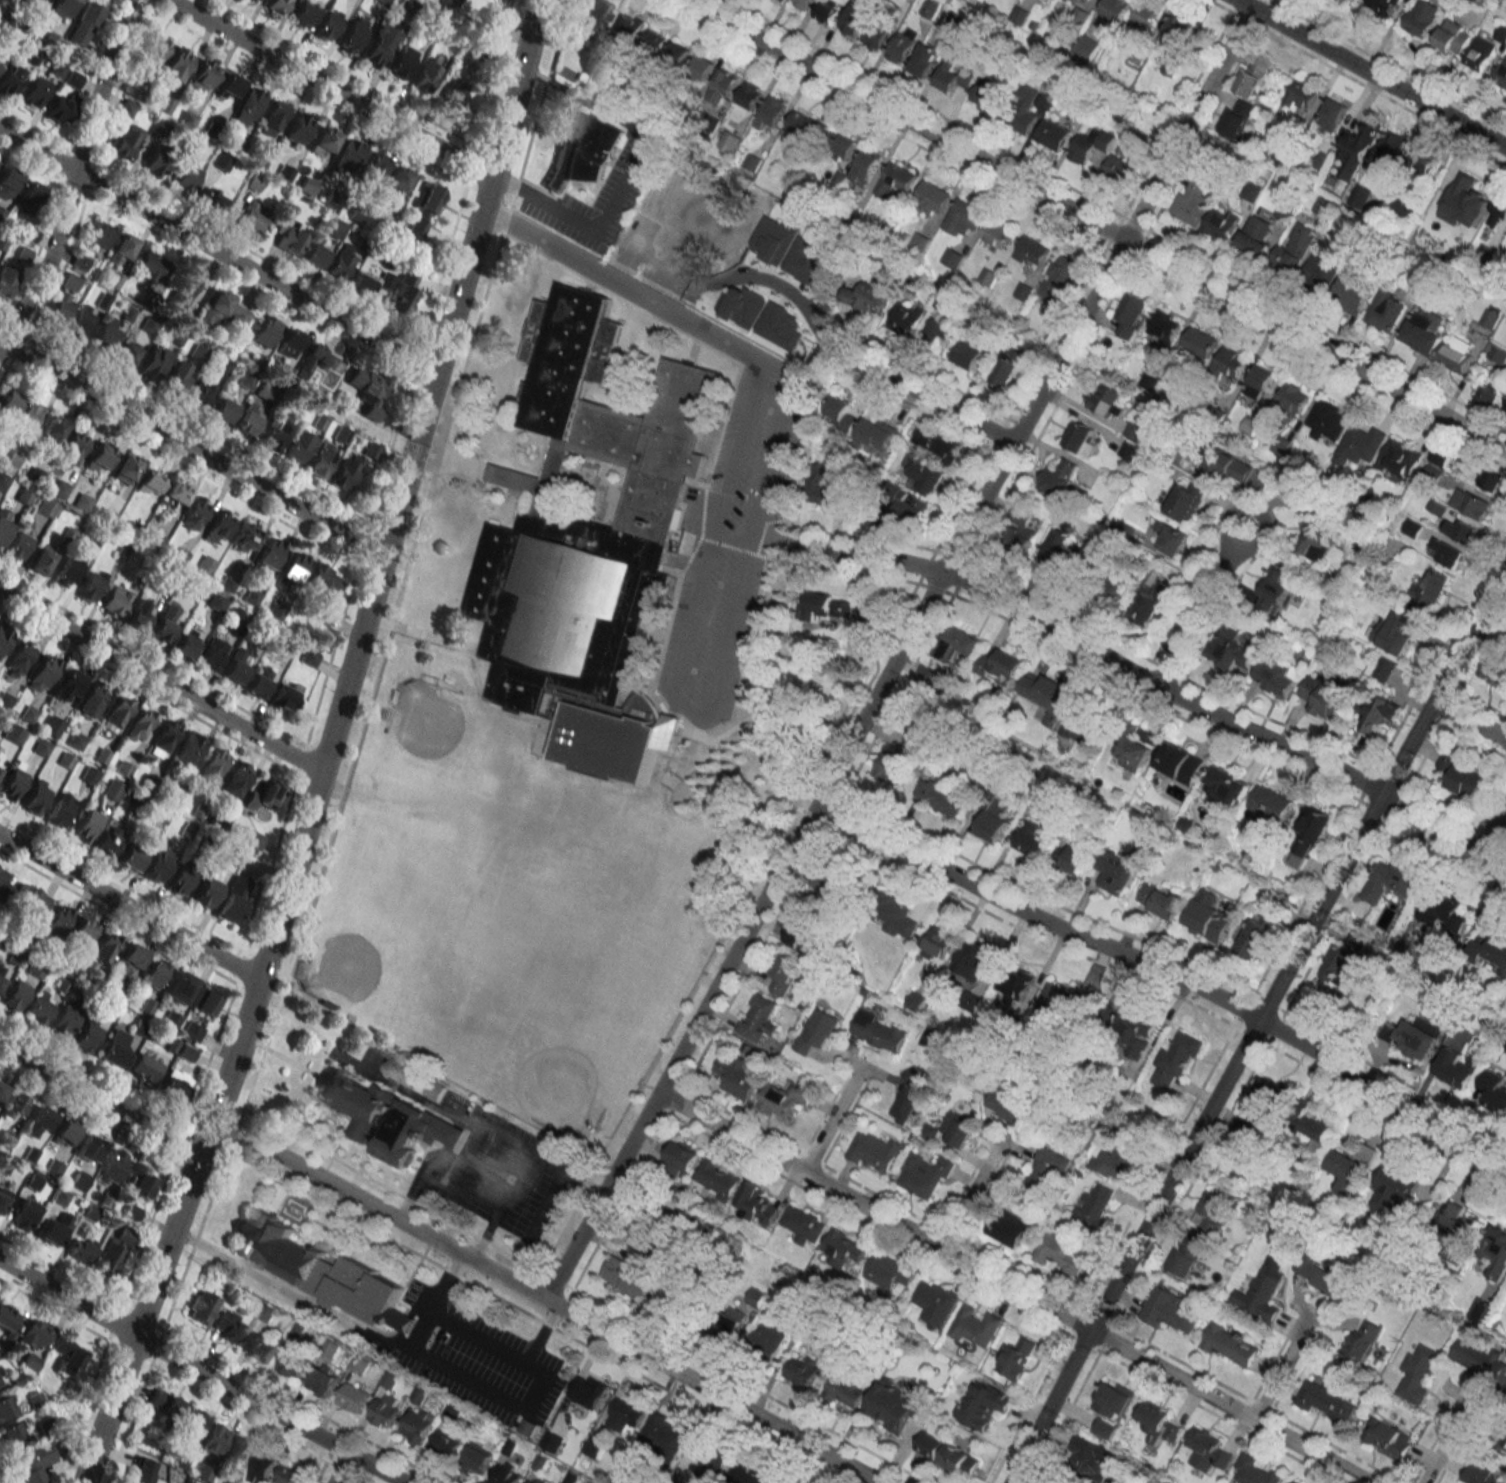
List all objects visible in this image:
building: (253, 1)
building: (383, 1)
building: (36, 2)
building: (802, 3)
building: (1383, 6)
building: (60, 7)
building: (276, 7)
building: (1117, 10)
building: (827, 11)
building: (301, 14)
building: (1146, 14)
building: (1423, 17)
building: (854, 18)
building: (590, 22)
building: (83, 23)
building: (953, 23)
building: (630, 26)
building: (1178, 26)
building: (325, 28)
building: (877, 33)
building: (1502, 33)
building: (352, 35)
building: (1454, 36)
building: (654, 43)
building: (378, 45)
building: (903, 45)
building: (1085, 48)
building: (152, 49)
building: (1480, 53)
building: (678, 54)
building: (1, 58)
building: (926, 59)
building: (401, 61)
building: (176, 67)
building: (703, 67)
building: (1170, 67)
building: (426, 74)
building: (956, 74)
road: (1371, 74)
building: (1501, 74)
building: (202, 75)
building: (1252, 78)
building: (9, 80)
building: (228, 86)
building: (723, 86)
building: (133, 87)
road: (330, 88)
building: (455, 88)
building: (34, 91)
building: (749, 95)
building: (986, 95)
building: (1303, 95)
building: (247, 106)
building: (1022, 109)
building: (60, 110)
building: (1335, 111)
building: (771, 113)
building: (1238, 117)
building: (272, 118)
building: (187, 120)
building: (299, 130)
building: (804, 131)
building: (1052, 134)
building: (126, 141)
building: (322, 141)
building: (730, 141)
building: (579, 145)
building: (847, 145)
building: (1090, 145)
building: (1357, 149)
building: (1391, 149)
building: (347, 154)
building: (1282, 155)
building: (1320, 160)
building: (220, 161)
building: (154, 164)
building: (372, 167)
building: (866, 167)
road: (628, 168)
building: (1122, 168)
road: (74, 178)
building: (186, 178)
building: (897, 178)
building: (395, 180)
building: (7, 182)
building: (1252, 191)
building: (1360, 195)
building: (27, 197)
building: (931, 197)
building: (210, 200)
building: (1192, 201)
building: (1465, 201)
building: (1323, 205)
building: (1406, 208)
building: (424, 210)
building: (696, 211)
building: (1498, 212)
building: (251, 216)
building: (963, 217)
building: (1221, 222)
road: (1097, 225)
building: (100, 234)
building: (997, 234)
building: (1255, 237)
building: (287, 239)
building: (1295, 248)
building: (121, 249)
road: (217, 251)
building: (1032, 252)
building: (313, 254)
building: (953, 258)
building: (341, 262)
building: (150, 266)
building: (1322, 270)
building: (1059, 279)
building: (6, 281)
building: (70, 281)
building: (361, 283)
building: (182, 290)
building: (1354, 292)
building: (403, 295)
building: (868, 297)
building: (943, 300)
road: (800, 301)
building: (60, 308)
building: (223, 310)
building: (1386, 310)
building: (1131, 314)
building: (907, 318)
building: (81, 321)
building: (1164, 328)
building: (942, 329)
building: (265, 330)
building: (107, 332)
building: (1422, 333)
building: (290, 343)
building: (1199, 343)
building: (970, 352)
building: (1497, 352)
building: (124, 353)
building: (1454, 357)
building: (311, 360)
building: (1230, 362)
building: (151, 363)
building: (1008, 366)
building: (280, 372)
building: (177, 376)
building: (1149, 378)
building: (1262, 378)
road: (747, 390)
building: (368, 391)
road: (920, 393)
building: (199, 394)
building: (1487, 394)
building: (1293, 398)
building: (10, 402)
building: (1106, 403)
building: (223, 407)
building: (1505, 409)
building: (843, 413)
building: (28, 416)
building: (1330, 418)
building: (247, 419)
building: (52, 429)
building: (876, 433)
building: (271, 435)
building: (1081, 438)
building: (936, 441)
building: (1361, 445)
building: (296, 446)
building: (74, 447)
road: (191, 449)
building: (371, 450)
building: (1129, 451)
building: (1441, 455)
building: (100, 457)
building: (320, 459)
building: (1401, 459)
building: (1213, 465)
building: (125, 467)
building: (345, 471)
building: (924, 473)
building: (1060, 478)
building: (1493, 478)
building: (3, 481)
building: (150, 482)
building: (828, 484)
building: (175, 493)
building: (1187, 499)
building: (1471, 503)
building: (46, 508)
building: (910, 508)
building: (194, 513)
building: (4, 523)
building: (219, 527)
building: (1414, 527)
building: (1020, 529)
building: (1462, 530)
building: (1317, 535)
building: (245, 538)
building: (1174, 539)
building: (587, 543)
building: (18, 546)
building: (1058, 546)
building: (269, 552)
building: (1447, 553)
building: (178, 556)
road: (1227, 557)
building: (41, 559)
building: (295, 564)
building: (68, 570)
building: (323, 580)
building: (91, 585)
building: (1114, 587)
building: (1275, 591)
building: (1428, 591)
building: (115, 600)
building: (1149, 603)
building: (828, 607)
building: (136, 616)
building: (870, 619)
building: (164, 623)
building: (3, 636)
building: (957, 643)
building: (185, 645)
building: (1230, 648)
road: (896, 653)
building: (309, 657)
building: (209, 658)
building: (18, 659)
building: (1498, 662)
building: (1001, 665)
building: (234, 667)
building: (42, 673)
building: (925, 675)
building: (1277, 675)
building: (258, 681)
road: (160, 682)
building: (67, 685)
road: (1162, 688)
building: (1047, 693)
building: (284, 695)
building: (1323, 696)
building: (90, 700)
building: (118, 711)
building: (1378, 714)
road: (1469, 717)
building: (140, 723)
building: (1084, 723)
building: (51, 726)
building: (164, 737)
building: (76, 740)
road: (327, 747)
building: (188, 748)
building: (1132, 753)
building: (1181, 763)
building: (211, 767)
building: (891, 769)
building: (1462, 774)
building: (14, 780)
building: (235, 780)
building: (1226, 785)
building: (263, 796)
building: (940, 796)
building: (36, 797)
building: (1272, 805)
building: (60, 810)
building: (993, 816)
building: (85, 826)
road: (1491, 828)
building: (1308, 838)
building: (1031, 839)
building: (253, 840)
building: (107, 841)
building: (129, 858)
building: (1078, 858)
building: (157, 864)
building: (1116, 871)
building: (180, 879)
building: (1392, 880)
building: (3, 884)
building: (828, 886)
building: (205, 891)
building: (30, 898)
building: (232, 899)
building: (1161, 900)
road: (129, 907)
building: (1447, 914)
building: (897, 919)
building: (57, 920)
building: (1207, 922)
building: (82, 929)
building: (1253, 938)
building: (937, 943)
building: (105, 947)
building: (1493, 950)
building: (129, 958)
building: (1344, 960)
building: (972, 962)
building: (36, 969)
building: (784, 971)
road: (1167, 973)
building: (2, 974)
building: (152, 976)
building: (1017, 980)
building: (179, 987)
building: (15, 996)
building: (206, 1002)
building: (970, 1006)
building: (39, 1007)
building: (757, 1017)
building: (64, 1019)
road: (1255, 1023)
building: (138, 1026)
building: (819, 1027)
building: (191, 1032)
building: (878, 1032)
building: (1136, 1032)
building: (87, 1035)
building: (1414, 1037)
building: (115, 1048)
building: (1174, 1062)
building: (1457, 1067)
building: (143, 1068)
building: (736, 1075)
building: (175, 1085)
building: (2, 1089)
building: (1495, 1090)
building: (434, 1091)
building: (908, 1095)
building: (783, 1099)
road: (99, 1102)
building: (13, 1106)
building: (1257, 1107)
building: (1012, 1109)
building: (388, 1118)
building: (39, 1120)
road: (831, 1120)
building: (956, 1129)
building: (929, 1130)
building: (1317, 1131)
building: (64, 1133)
building: (88, 1148)
building: (873, 1151)
building: (682, 1157)
building: (1118, 1162)
building: (1352, 1164)
building: (112, 1165)
building: (1046, 1170)
building: (923, 1175)
building: (717, 1179)
building: (139, 1184)
road: (466, 1187)
building: (1394, 1190)
road: (969, 1196)
building: (3, 1197)
building: (757, 1204)
building: (1094, 1204)
building: (1212, 1211)
building: (24, 1215)
building: (802, 1224)
building: (1452, 1224)
building: (1006, 1227)
building: (53, 1229)
building: (645, 1237)
building: (277, 1247)
building: (844, 1247)
building: (113, 1250)
building: (1496, 1250)
building: (1060, 1253)
building: (1189, 1254)
building: (889, 1273)
building: (626, 1277)
road: (263, 1279)
building: (1323, 1279)
building: (1263, 1287)
road: (1013, 1288)
building: (358, 1289)
building: (755, 1297)
road: (545, 1301)
building: (935, 1302)
building: (201, 1306)
building: (1166, 1310)
building: (1481, 1310)
building: (7, 1318)
building: (731, 1322)
building: (975, 1326)
building: (229, 1327)
building: (34, 1334)
road: (475, 1334)
building: (768, 1338)
building: (1361, 1342)
building: (262, 1345)
building: (1230, 1346)
road: (402, 1352)
building: (1015, 1357)
building: (1477, 1358)
building: (71, 1361)
building: (291, 1362)
road: (1280, 1365)
building: (803, 1370)
building: (1417, 1372)
road: (200, 1373)
building: (323, 1379)
building: (0, 1380)
building: (388, 1381)
building: (845, 1390)
building: (354, 1395)
building: (589, 1395)
building: (419, 1396)
building: (1114, 1397)
building: (1326, 1401)
building: (164, 1403)
building: (893, 1405)
building: (984, 1405)
building: (5, 1407)
building: (385, 1410)
building: (451, 1413)
building: (627, 1413)
building: (1157, 1423)
building: (416, 1425)
building: (190, 1426)
building: (1104, 1428)
building: (666, 1432)
building: (556, 1433)
building: (1504, 1433)
building: (12, 1434)
building: (1387, 1437)
building: (214, 1438)
road: (1443, 1441)
building: (446, 1443)
building: (929, 1444)
building: (594, 1446)
building: (1207, 1450)
building: (238, 1451)
building: (711, 1452)
building: (1090, 1457)
building: (477, 1458)
building: (959, 1460)
building: (32, 1462)
building: (262, 1467)
road: (340, 1468)
building: (141, 1470)
building: (1256, 1471)
building: (506, 1474)
building: (749, 1474)
building: (291, 1475)
building: (1479, 1475)
building: (535, 1480)
building: (1293, 1482)

